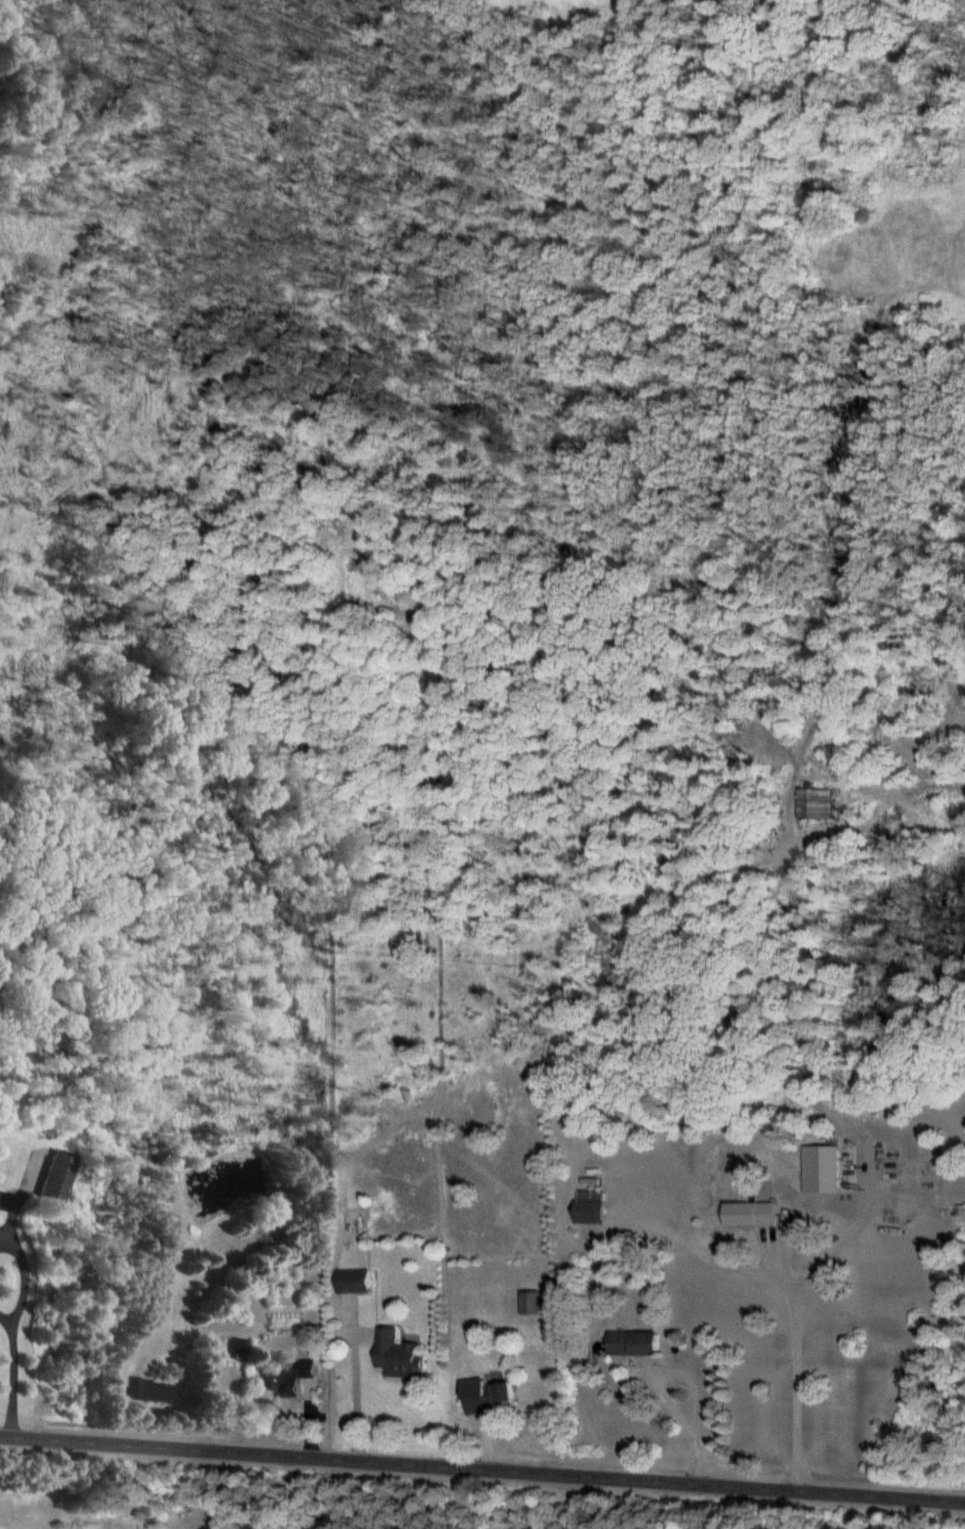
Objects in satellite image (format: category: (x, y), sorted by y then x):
building: (814, 804)
building: (55, 1176)
building: (589, 1207)
building: (749, 1215)
road: (26, 1275)
building: (352, 1282)
building: (529, 1303)
road: (6, 1316)
building: (632, 1344)
building: (397, 1357)
road: (806, 1368)
road: (14, 1379)
building: (289, 1380)
building: (150, 1392)
building: (486, 1397)
road: (482, 1468)

